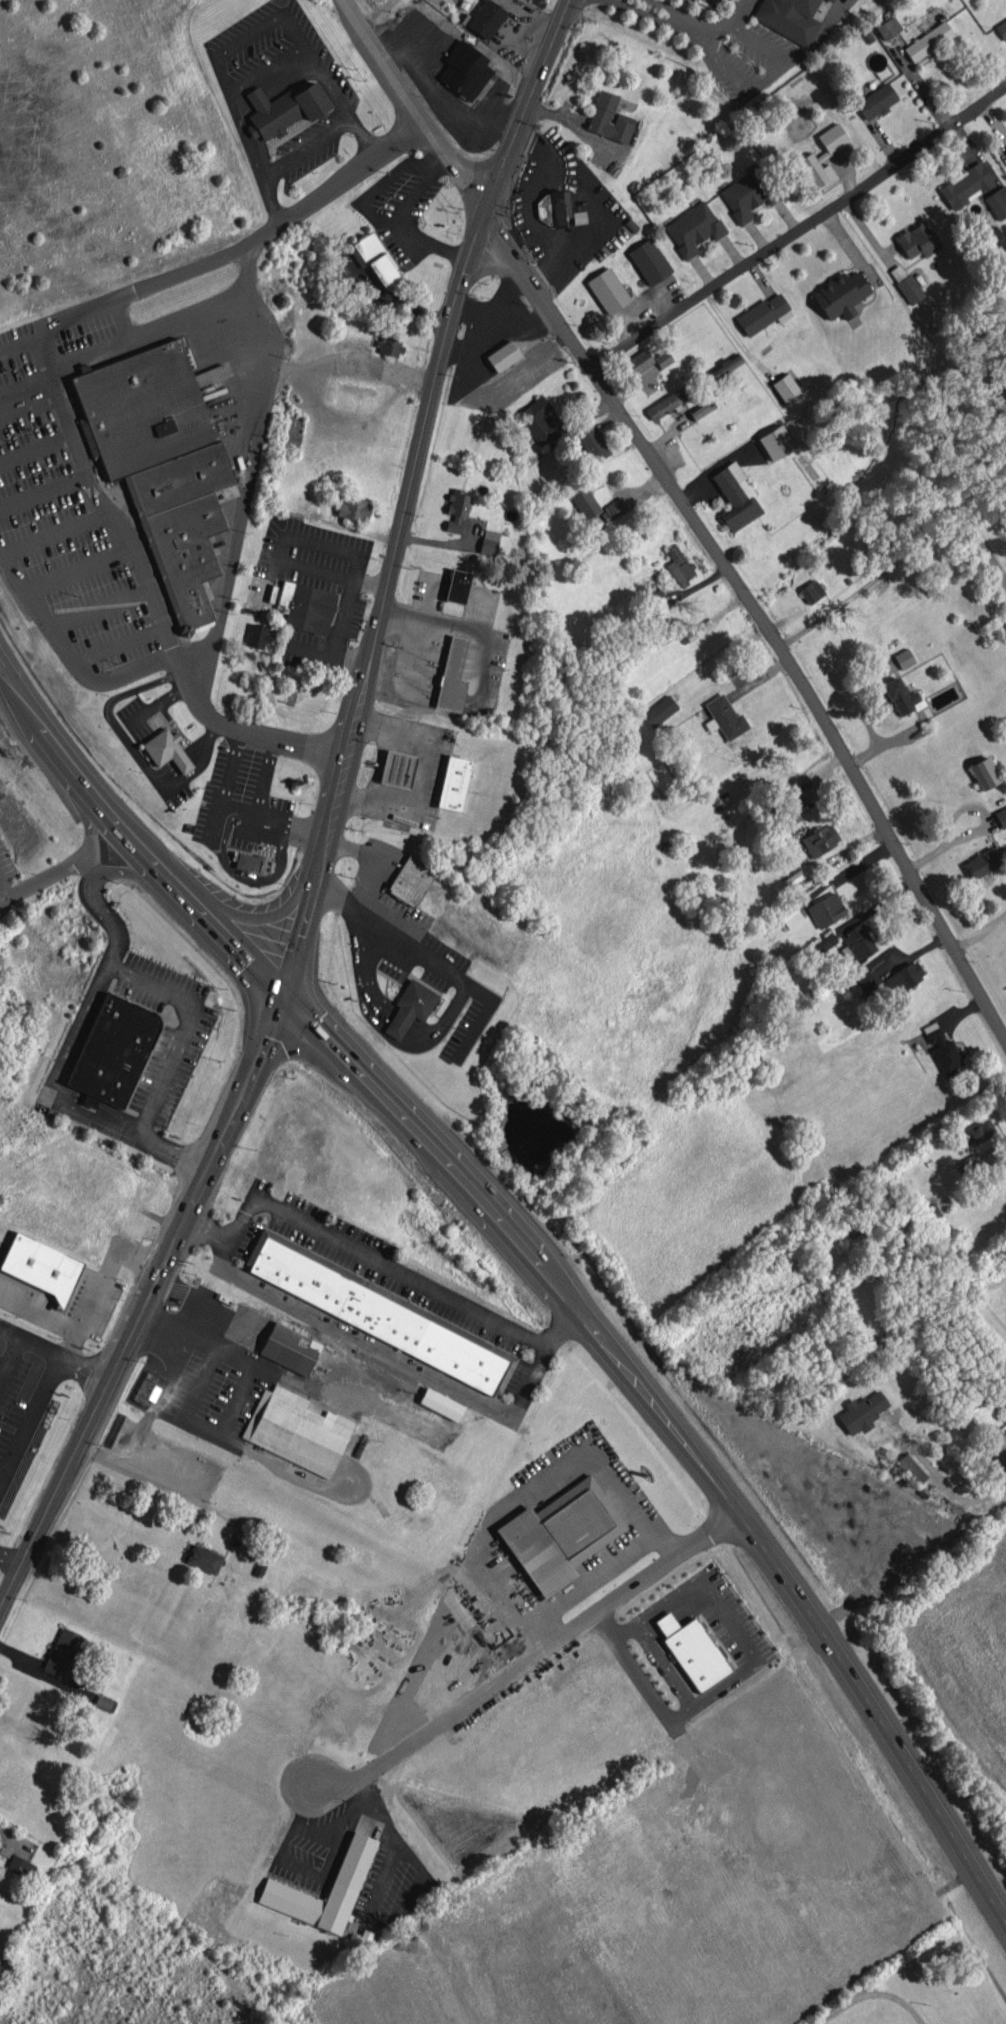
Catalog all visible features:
building: (469, 0)
building: (788, 18)
building: (486, 19)
road: (658, 19)
building: (887, 27)
building: (1001, 29)
road: (818, 35)
road: (709, 39)
building: (927, 41)
building: (464, 70)
road: (773, 77)
building: (875, 101)
building: (284, 108)
building: (608, 118)
building: (823, 157)
building: (965, 185)
building: (747, 193)
building: (997, 202)
building: (553, 208)
traffic signals: (483, 212)
building: (579, 217)
building: (693, 228)
road: (799, 232)
building: (917, 240)
building: (375, 259)
building: (649, 261)
building: (607, 290)
building: (839, 294)
road: (13, 304)
building: (763, 314)
road: (20, 341)
building: (390, 346)
building: (502, 355)
building: (662, 358)
building: (639, 361)
road: (290, 366)
building: (724, 366)
road: (438, 372)
building: (785, 388)
road: (26, 394)
road: (55, 395)
building: (666, 403)
building: (698, 410)
building: (539, 419)
building: (775, 442)
building: (591, 443)
building: (160, 463)
building: (735, 496)
building: (584, 502)
building: (353, 508)
building: (456, 509)
building: (614, 509)
road: (689, 510)
road: (238, 529)
building: (488, 542)
road: (900, 561)
building: (678, 565)
building: (456, 586)
building: (811, 591)
building: (654, 596)
building: (306, 607)
building: (257, 635)
road: (66, 654)
building: (904, 658)
building: (452, 677)
building: (899, 696)
building: (660, 711)
building: (724, 717)
building: (166, 750)
building: (984, 772)
road: (421, 777)
building: (452, 783)
road: (338, 795)
road: (238, 807)
building: (1001, 816)
building: (785, 817)
road: (94, 836)
building: (819, 840)
road: (382, 857)
building: (980, 863)
road: (129, 873)
building: (790, 879)
building: (410, 881)
road: (46, 892)
road: (4, 899)
building: (826, 910)
road: (110, 916)
building: (788, 917)
road: (979, 929)
building: (859, 941)
building: (823, 943)
road: (431, 961)
road: (362, 967)
building: (904, 977)
building: (860, 980)
traffic signals: (281, 993)
building: (410, 1007)
road: (438, 1021)
road: (392, 1022)
road: (193, 1030)
building: (942, 1049)
building: (113, 1050)
road: (63, 1077)
building: (976, 1132)
road: (179, 1150)
building: (969, 1163)
building: (928, 1214)
road: (180, 1229)
road: (374, 1257)
road: (536, 1261)
building: (40, 1266)
building: (379, 1312)
building: (289, 1348)
road: (226, 1351)
road: (392, 1357)
building: (147, 1388)
building: (441, 1404)
building: (862, 1411)
road: (196, 1427)
building: (296, 1430)
building: (995, 1446)
building: (911, 1468)
road: (935, 1476)
road: (526, 1485)
building: (560, 1533)
building: (203, 1558)
road: (731, 1622)
building: (692, 1651)
building: (61, 1652)
road: (523, 1664)
road: (665, 1665)
road: (631, 1667)
road: (290, 1834)
building: (20, 1866)
building: (278, 1888)
road: (404, 1907)

